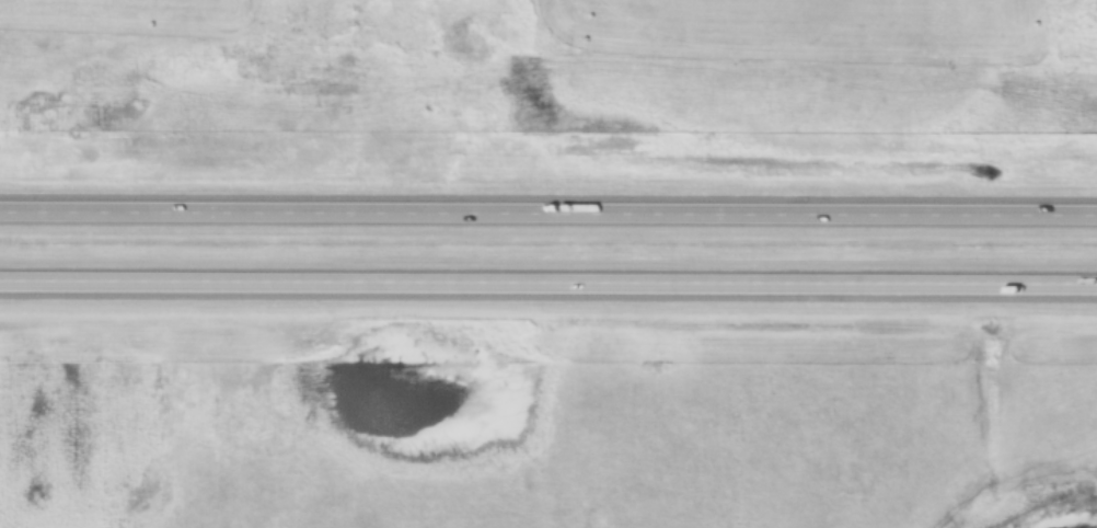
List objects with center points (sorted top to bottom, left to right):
road: (548, 216)
building: (422, 288)
road: (548, 288)

